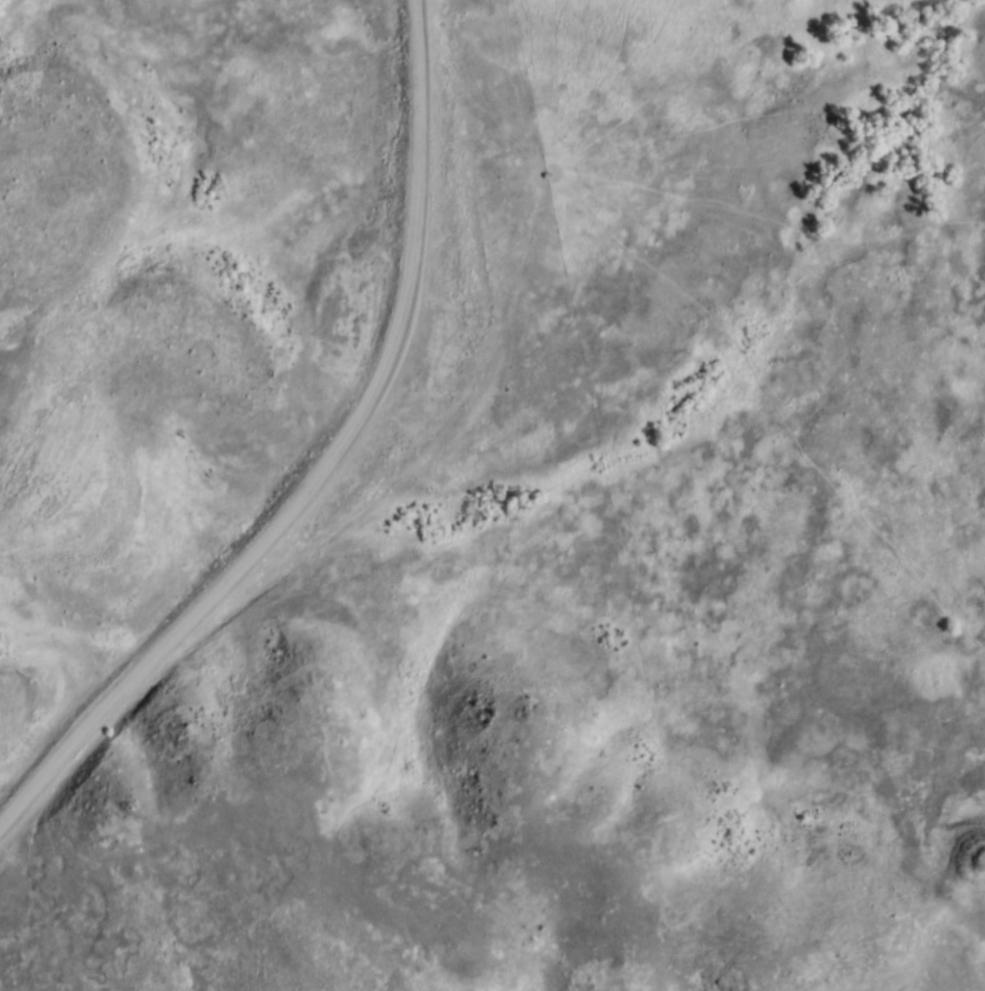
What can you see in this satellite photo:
road: (327, 465)
quarry: (9, 700)

